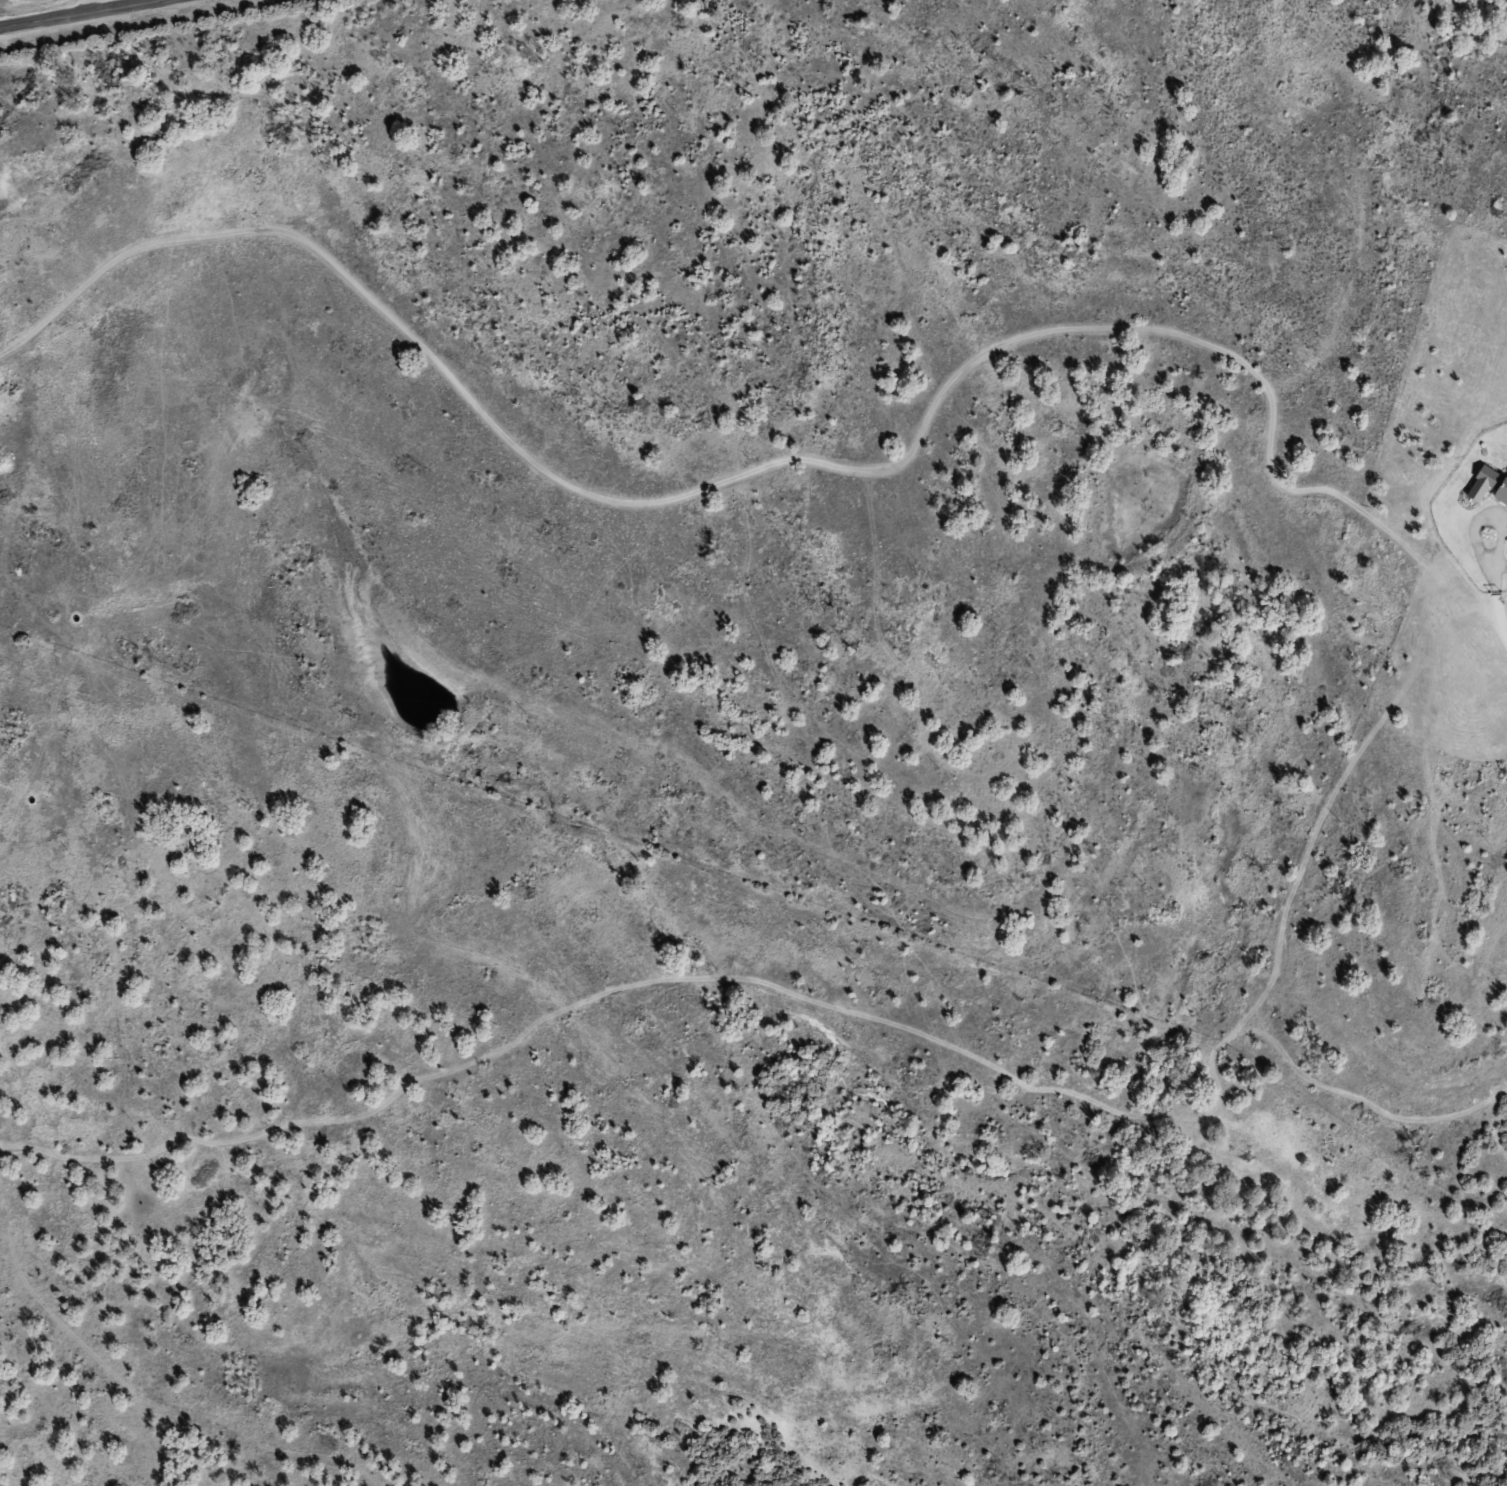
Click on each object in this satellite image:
road: (82, 14)

